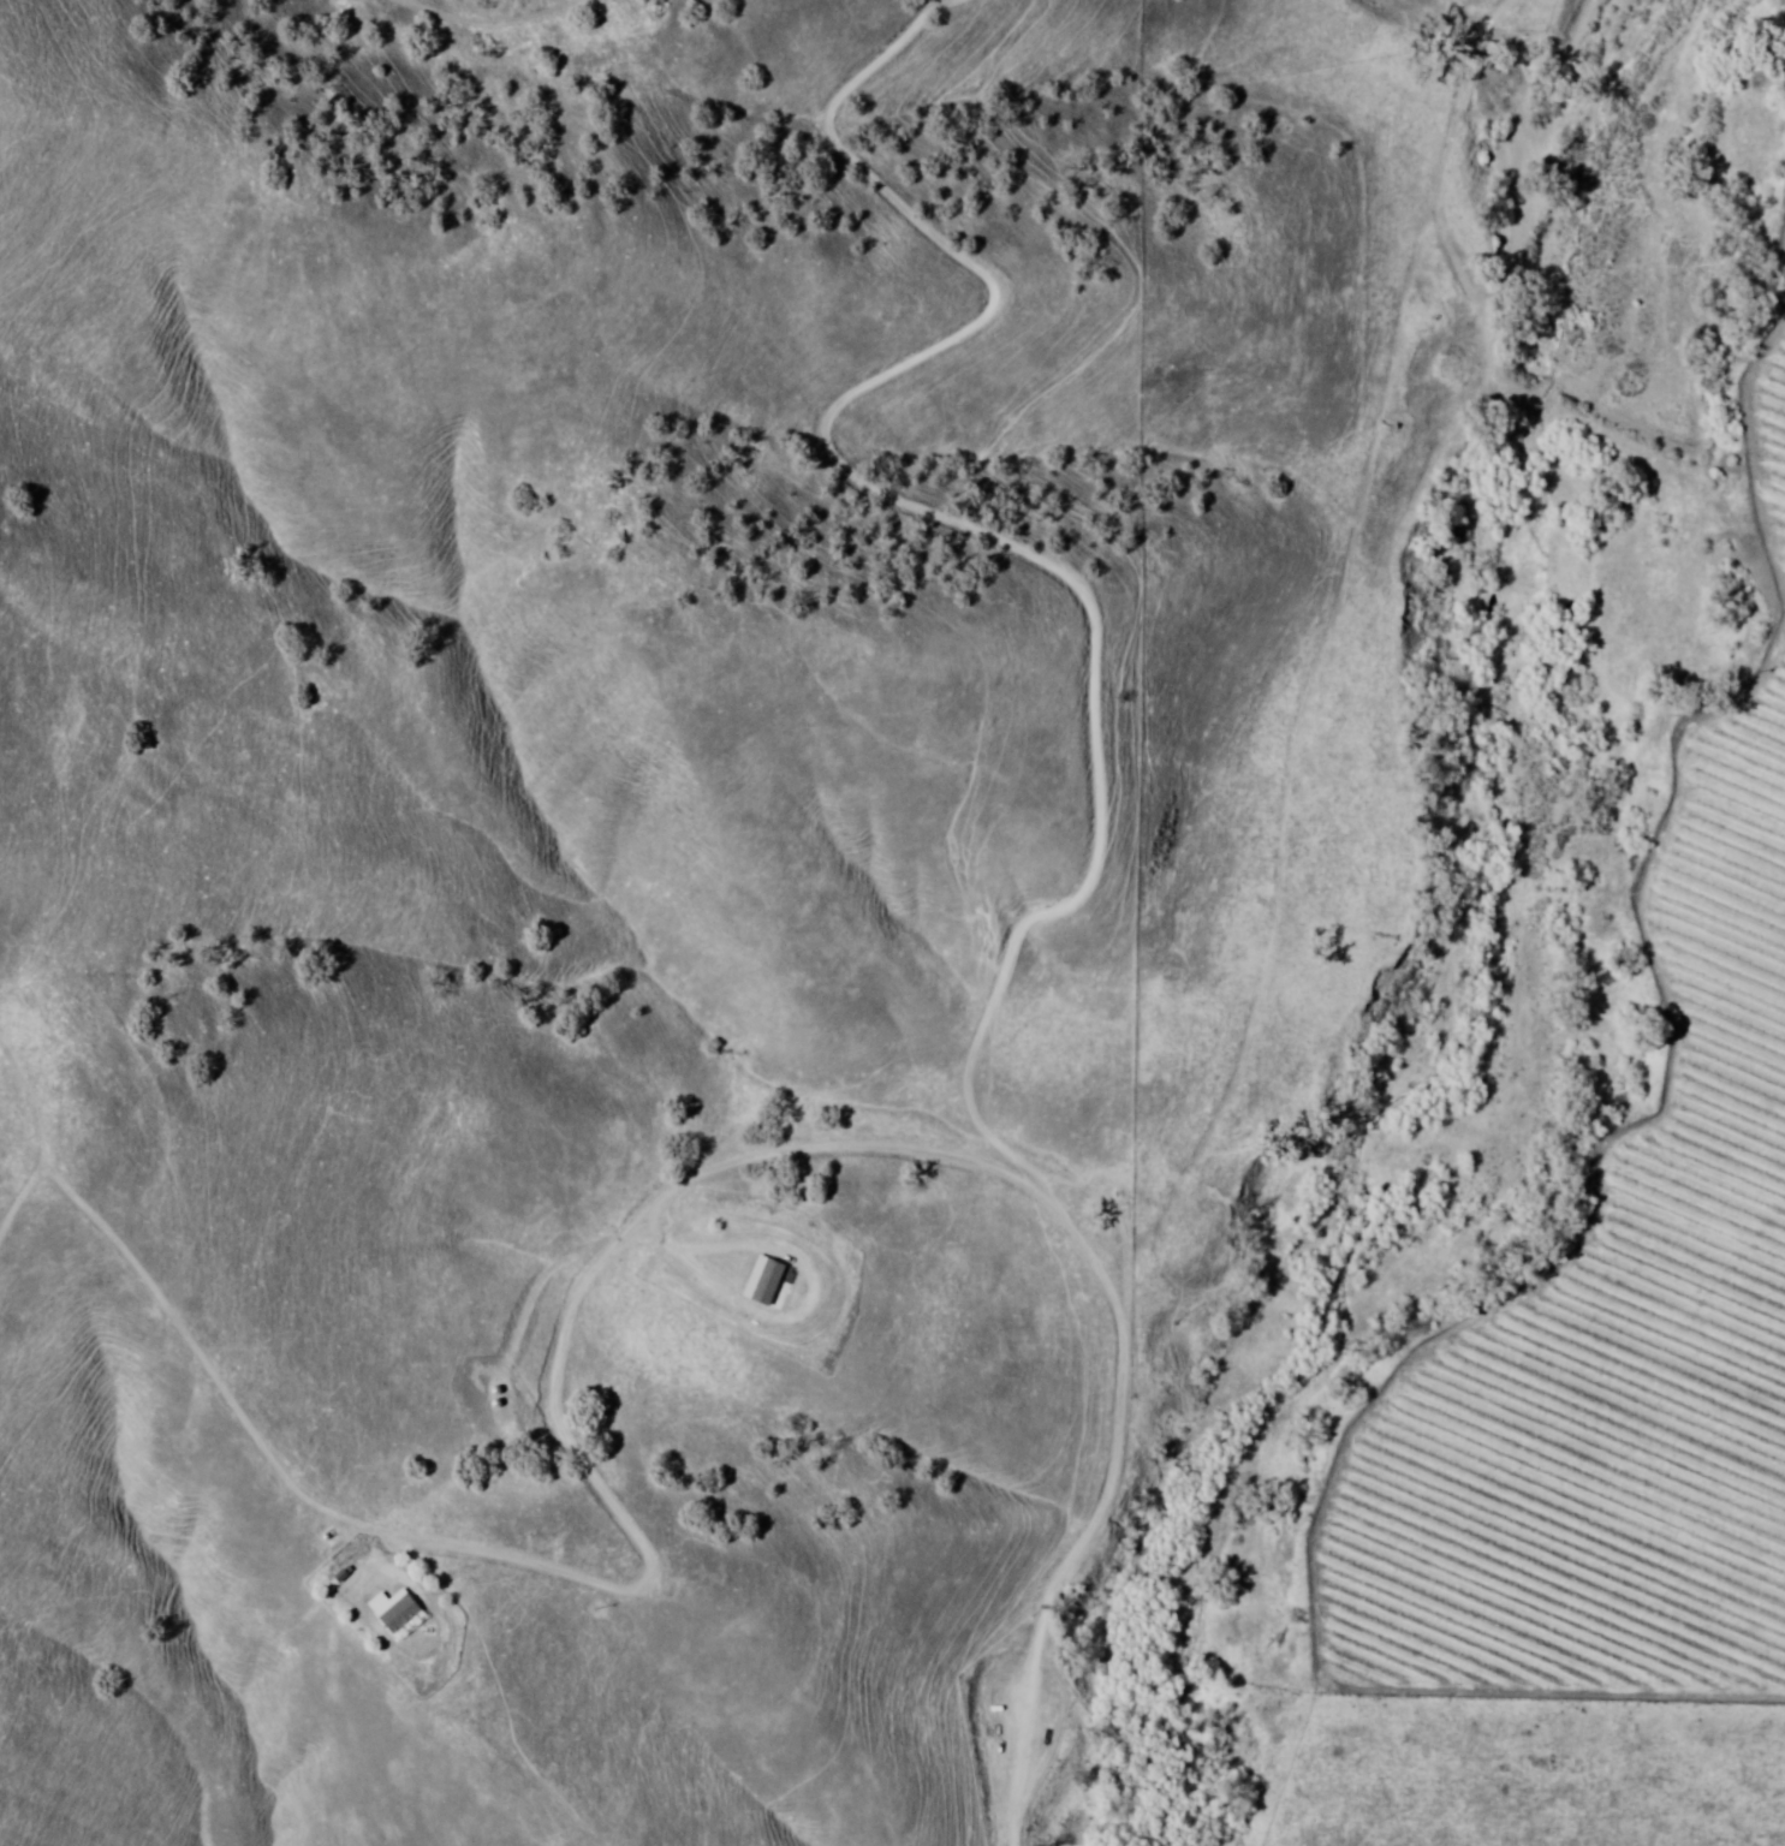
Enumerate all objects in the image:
road: (999, 537)
crop: (1620, 1219)
building: (764, 1284)
building: (397, 1614)

